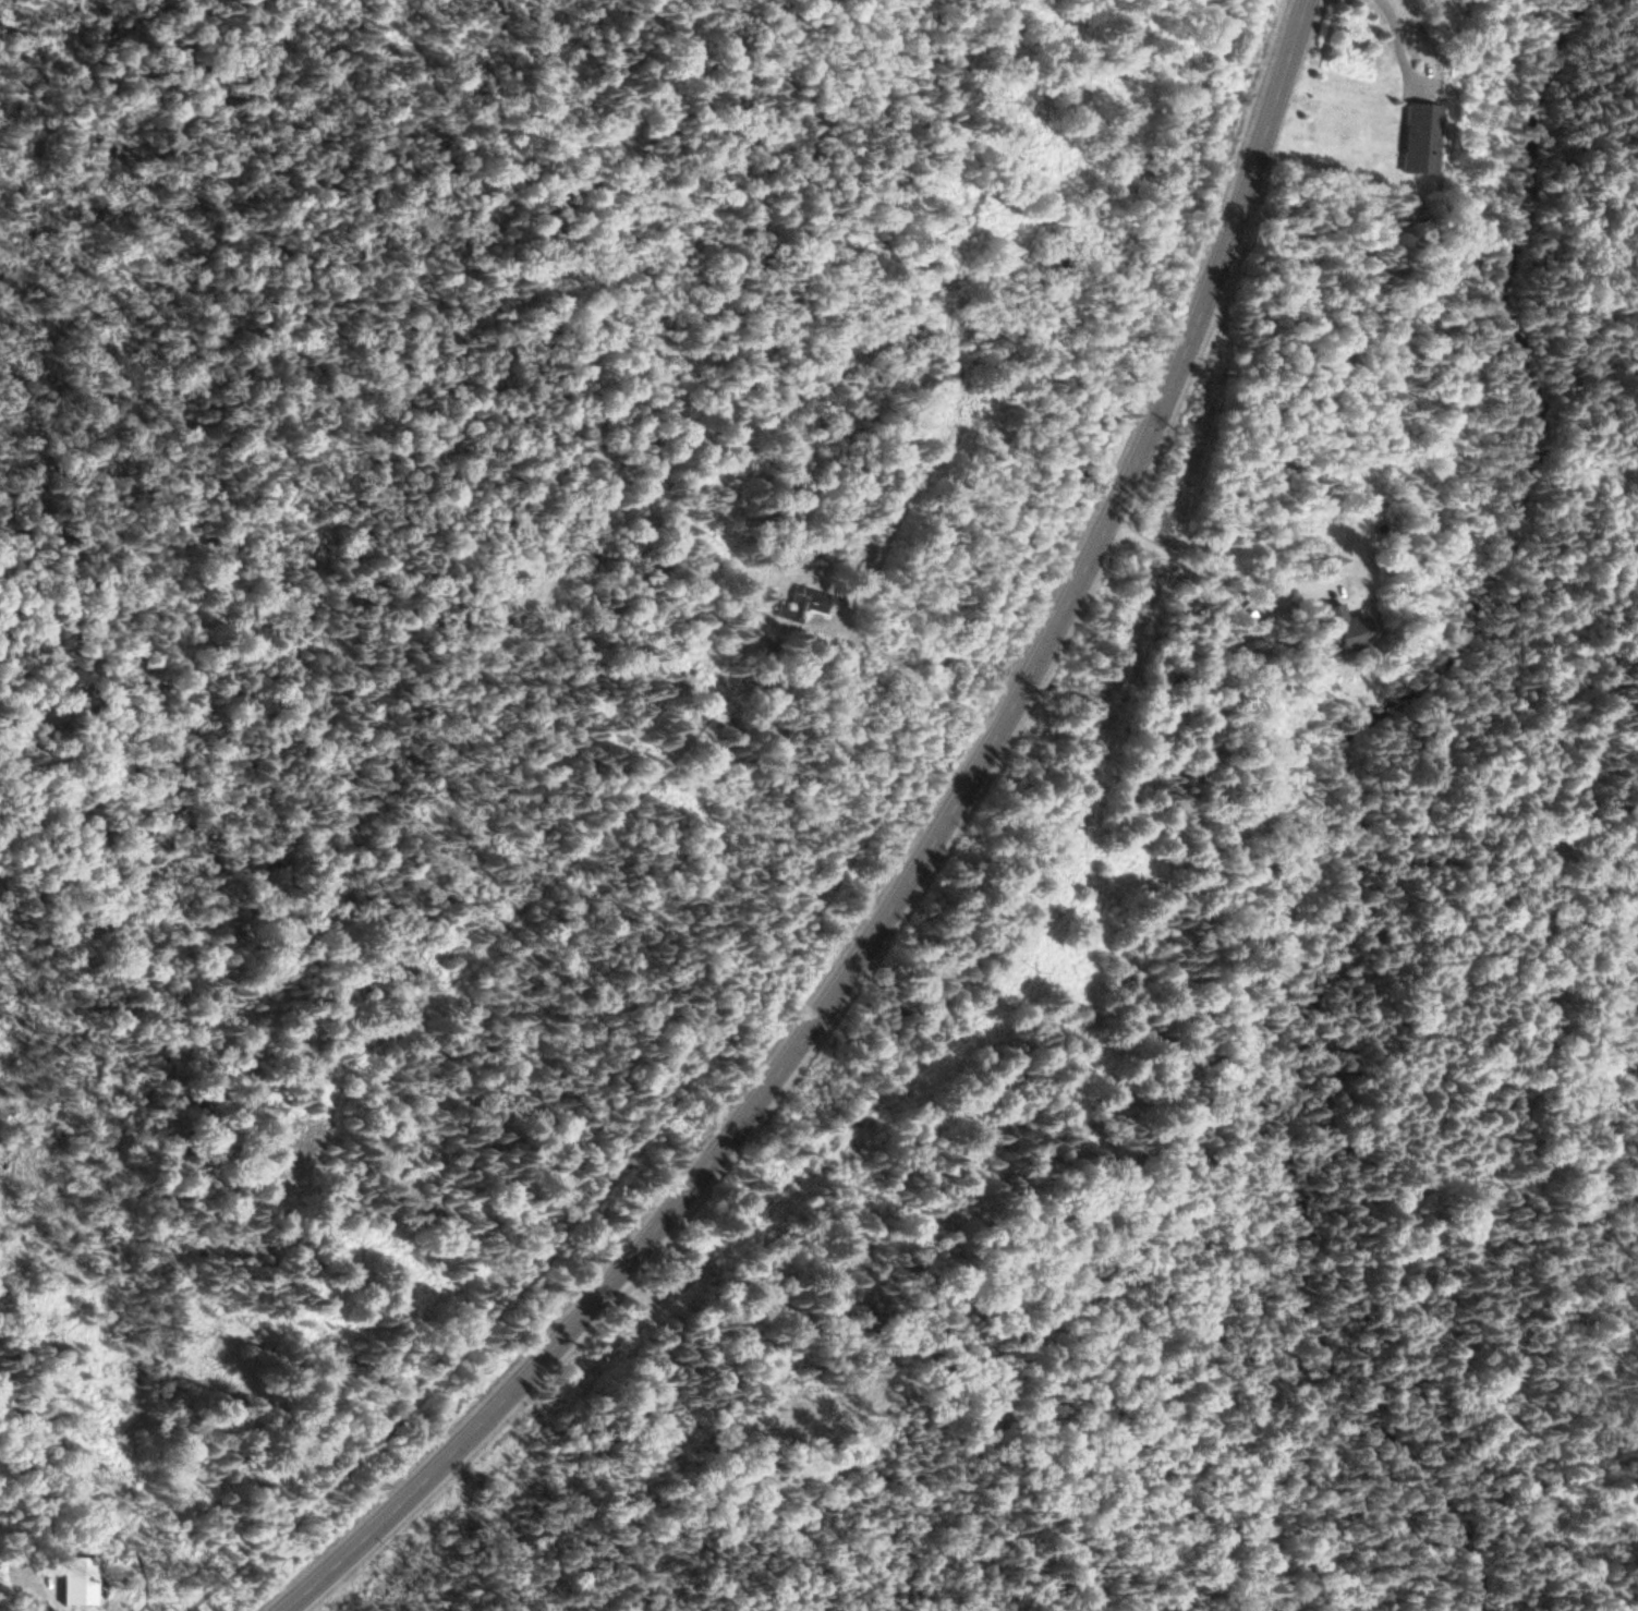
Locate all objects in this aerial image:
building: (1416, 138)
building: (862, 552)
building: (799, 605)
building: (1343, 631)
road: (818, 877)
road: (912, 880)

